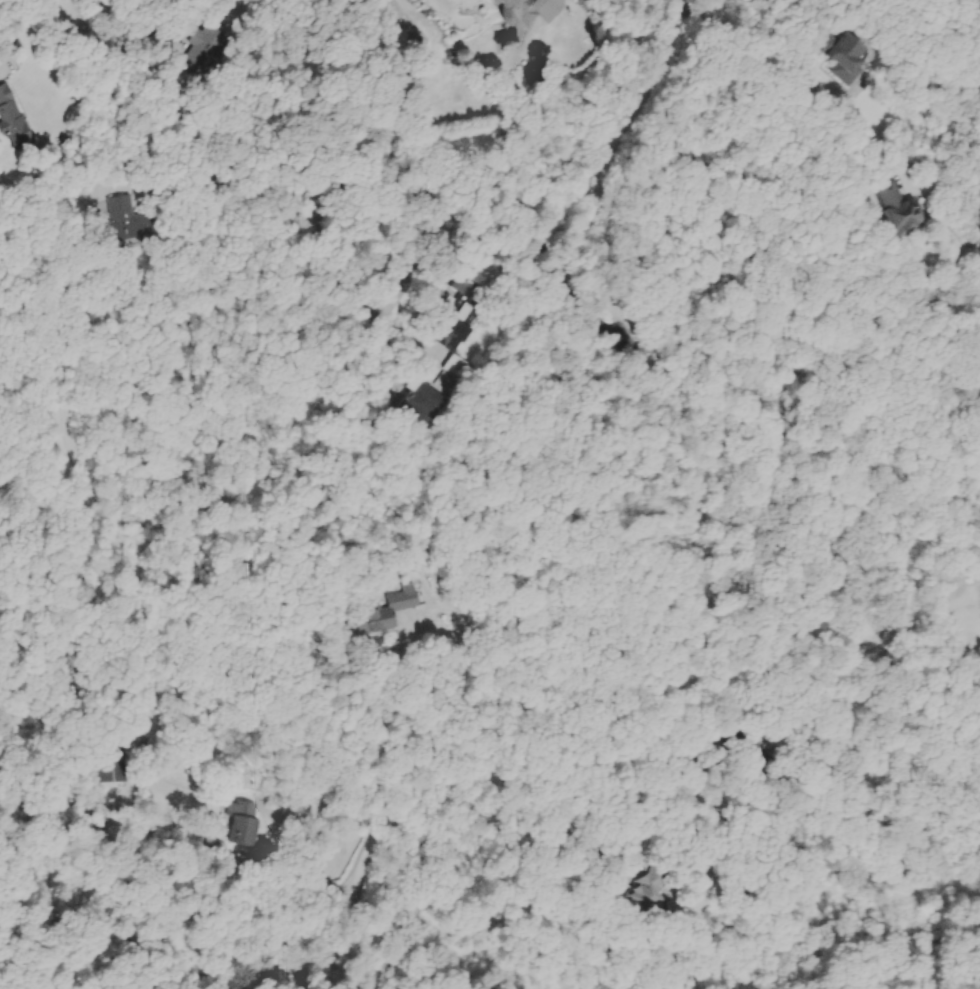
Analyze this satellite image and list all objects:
building: (477, 1)
road: (550, 8)
building: (523, 10)
road: (23, 29)
building: (208, 52)
building: (852, 59)
road: (787, 79)
road: (162, 91)
building: (12, 107)
road: (483, 189)
building: (908, 210)
road: (320, 216)
building: (133, 221)
building: (459, 338)
building: (463, 369)
building: (429, 405)
road: (714, 591)
building: (387, 613)
road: (835, 636)
road: (560, 683)
building: (245, 822)
road: (524, 834)
building: (657, 891)

